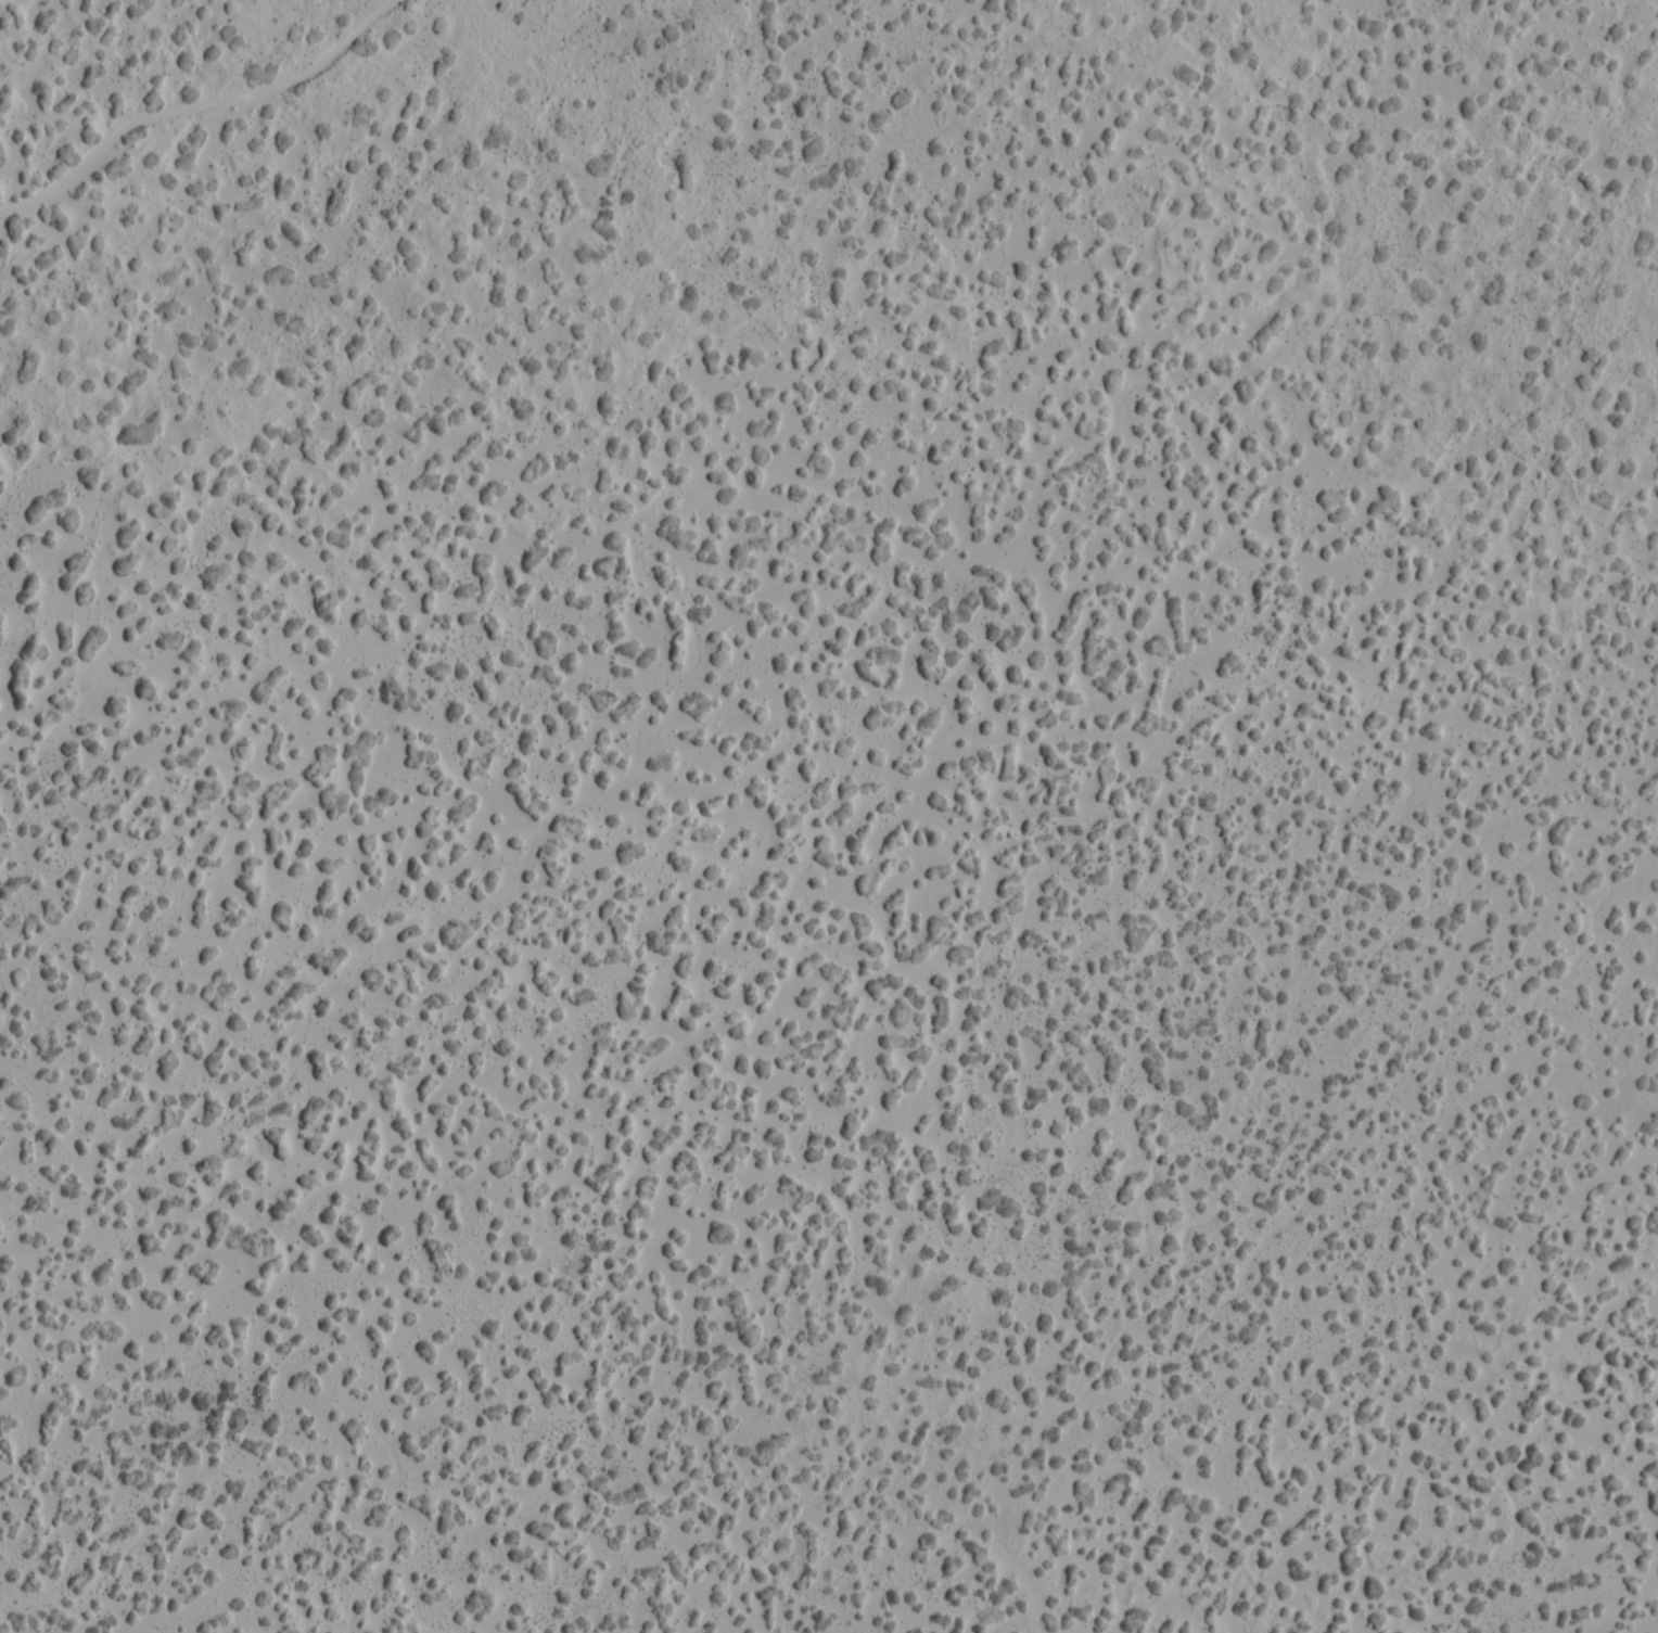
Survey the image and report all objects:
building: (1510, 655)
building: (1609, 698)
building: (1318, 832)

